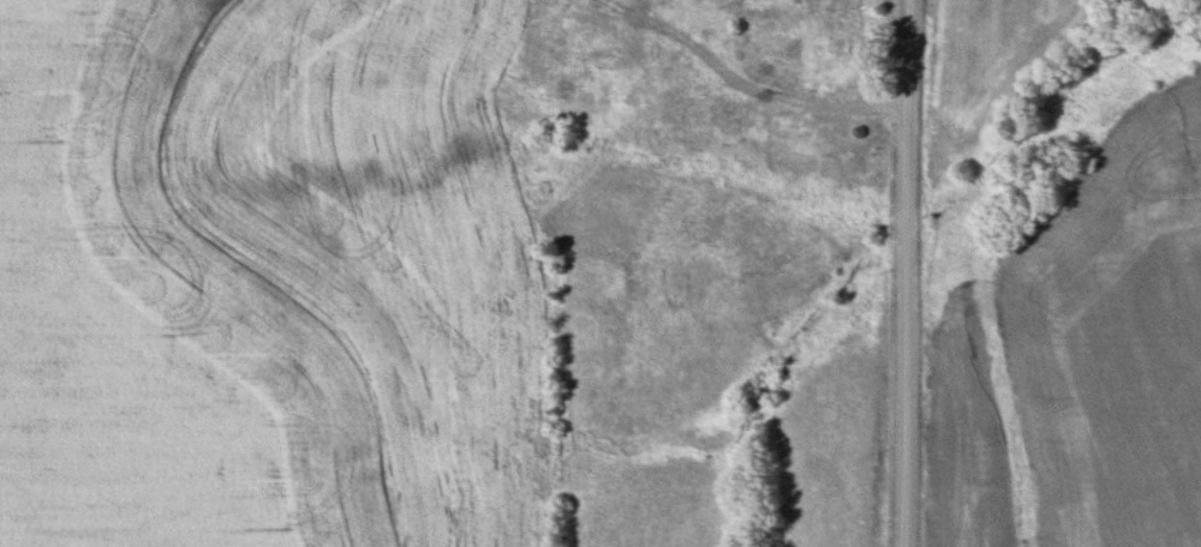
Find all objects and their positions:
building: (836, 46)
building: (787, 119)
road: (906, 272)

